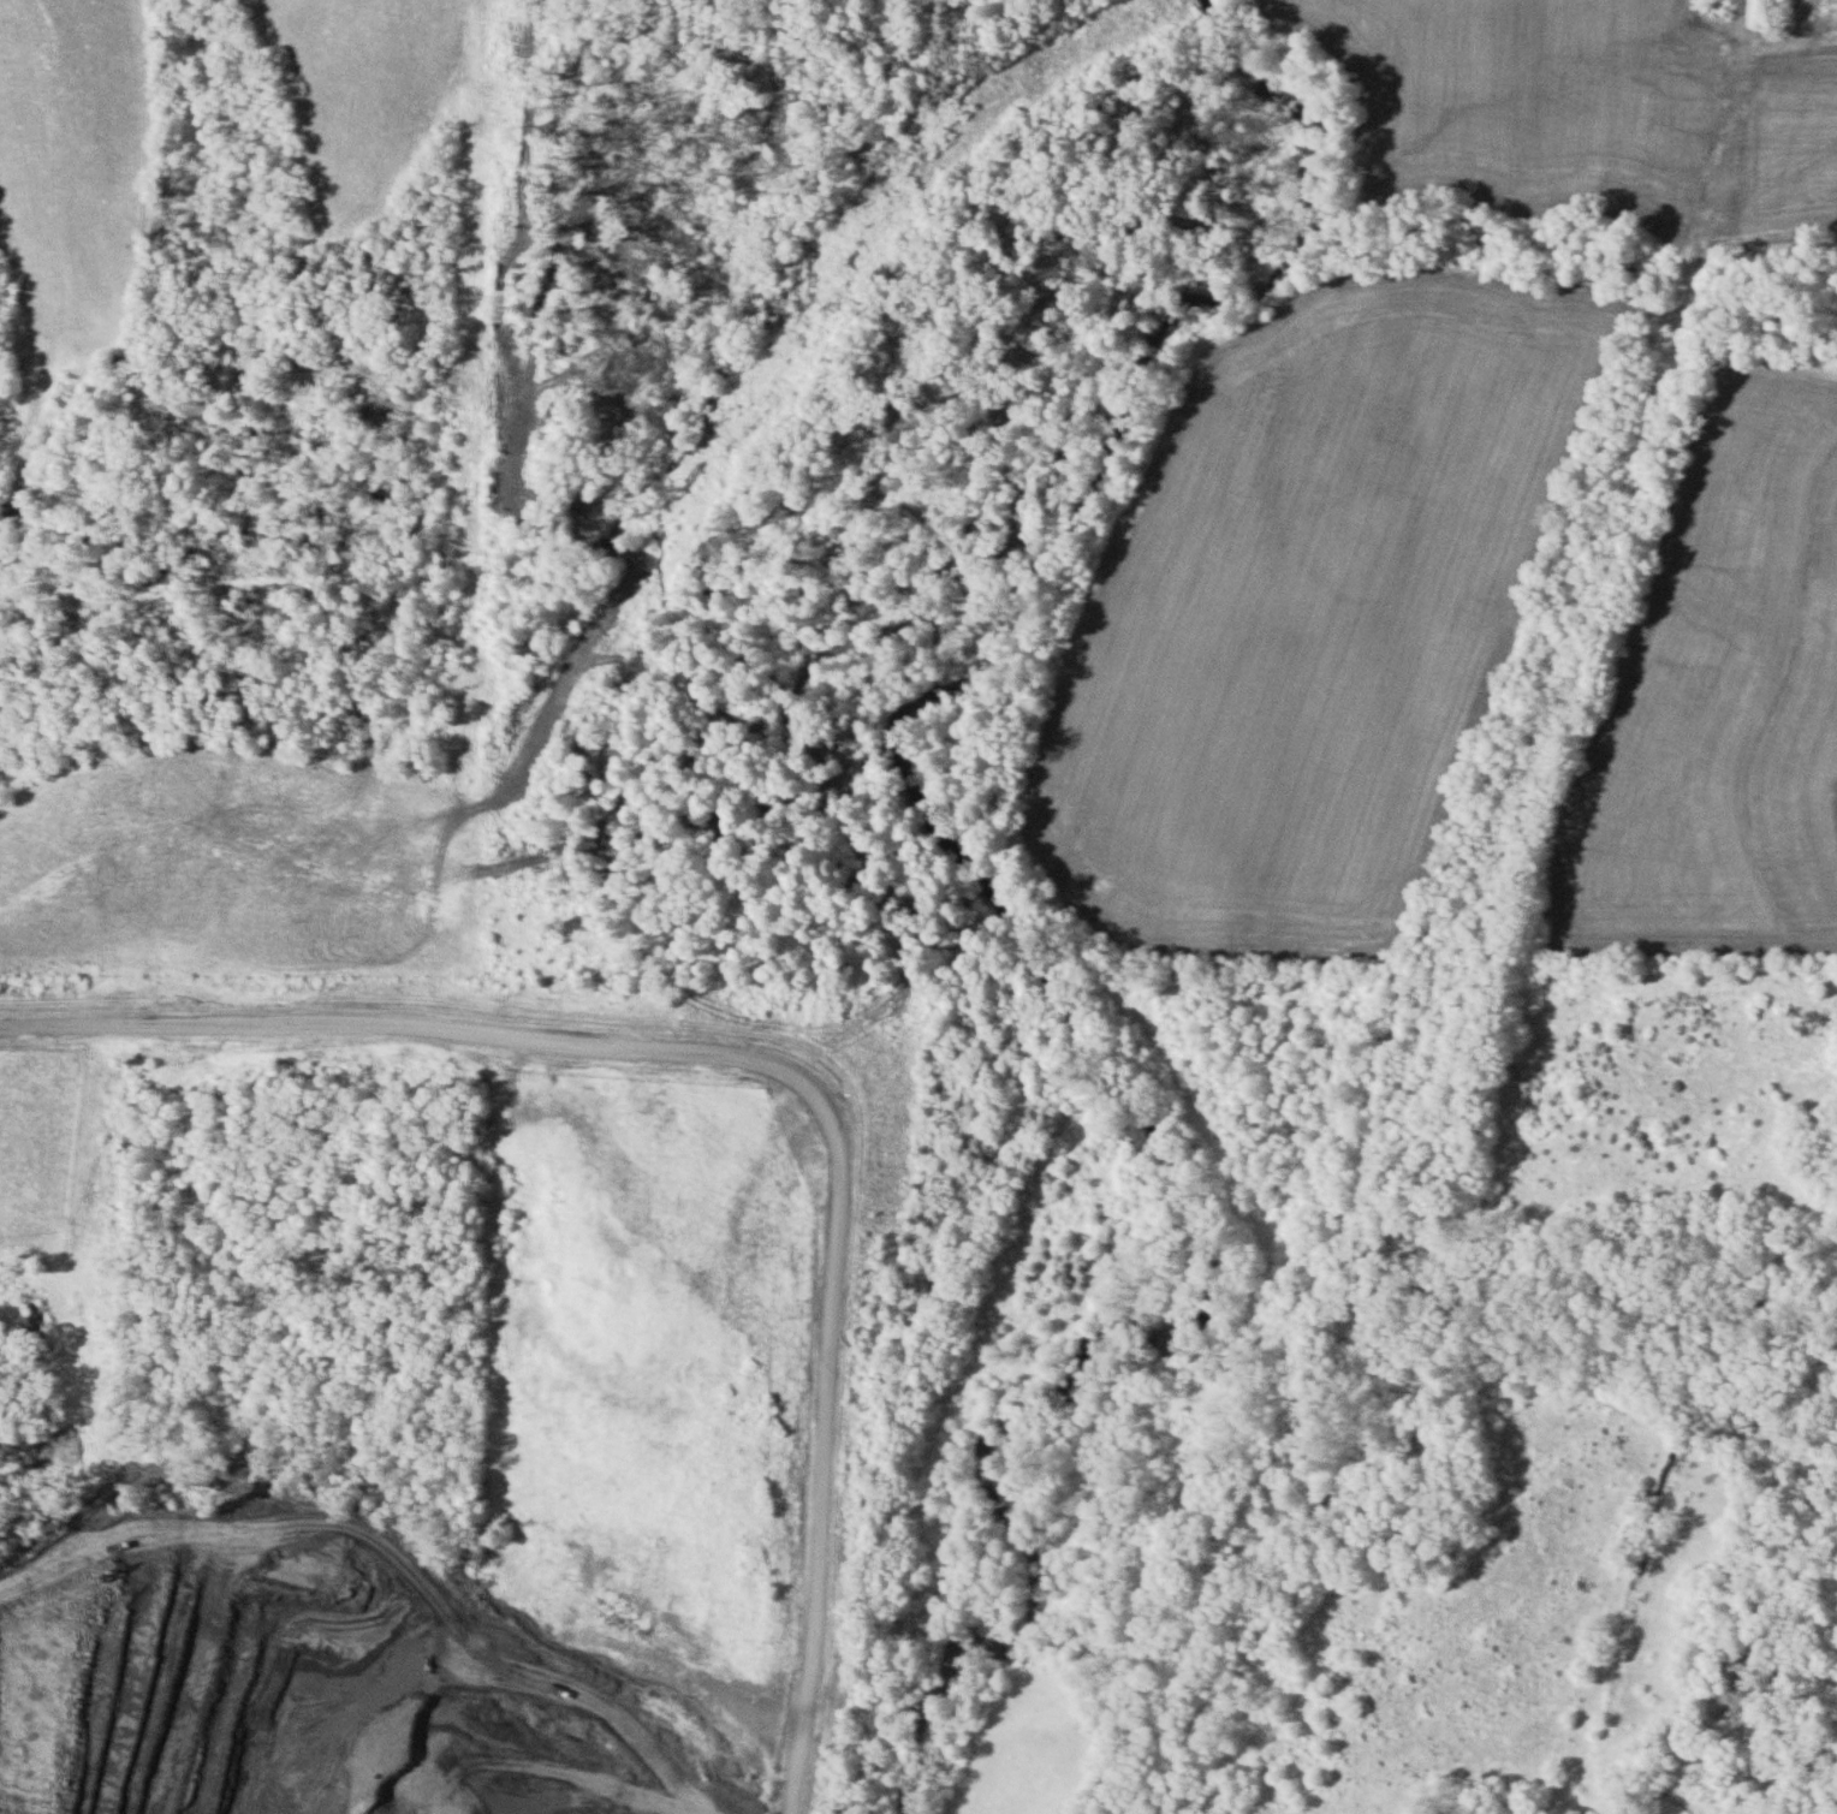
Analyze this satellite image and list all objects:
road: (1776, 35)
crop: (357, 96)
crop: (1524, 102)
crop: (67, 186)
crop: (1310, 617)
crop: (238, 863)
road: (774, 1064)

